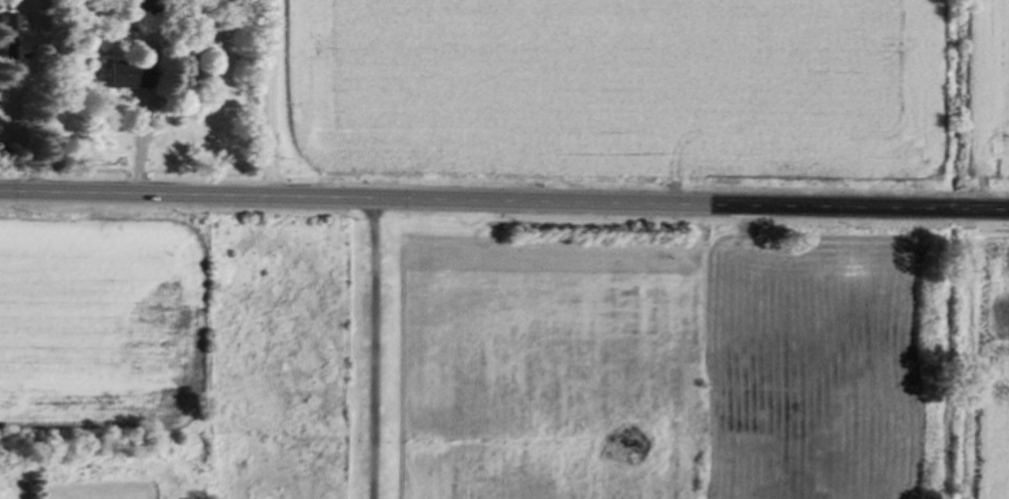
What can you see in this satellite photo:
building: (135, 9)
building: (11, 39)
building: (120, 76)
road: (271, 102)
road: (44, 108)
road: (504, 208)
road: (374, 352)
crop: (984, 369)

